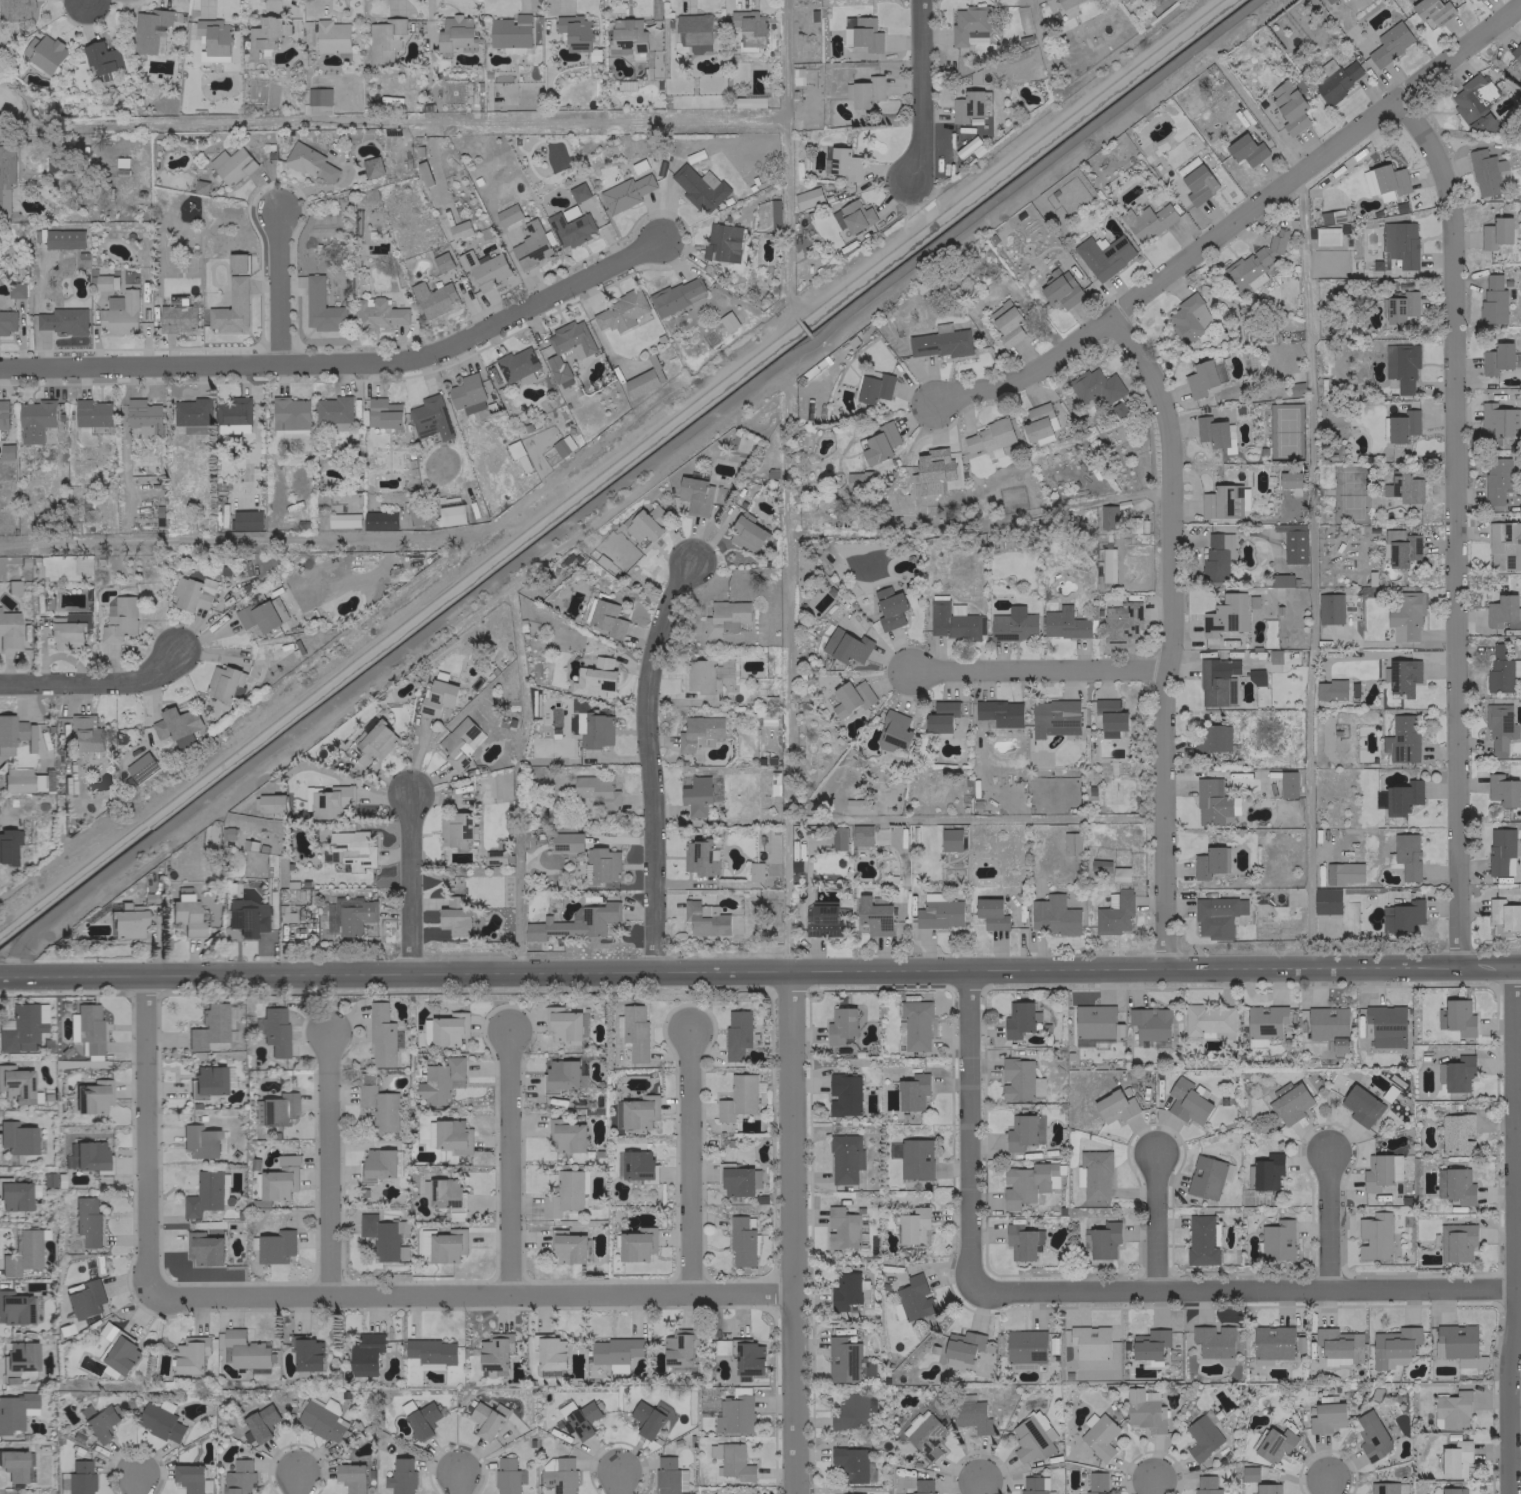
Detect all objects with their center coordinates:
building: (1474, 0)
building: (1067, 3)
building: (16, 9)
building: (1433, 11)
building: (969, 25)
building: (747, 27)
building: (694, 28)
building: (150, 31)
building: (575, 32)
building: (861, 33)
building: (456, 34)
building: (628, 35)
building: (263, 36)
building: (332, 36)
building: (213, 39)
building: (384, 39)
building: (1389, 43)
building: (1516, 51)
building: (45, 52)
building: (101, 57)
building: (1336, 79)
building: (865, 91)
road: (920, 93)
building: (744, 101)
building: (1474, 103)
building: (967, 106)
building: (1289, 106)
building: (1246, 150)
building: (310, 163)
building: (843, 163)
building: (231, 165)
building: (1486, 172)
building: (6, 176)
building: (1196, 180)
building: (1384, 180)
building: (699, 187)
building: (578, 192)
building: (625, 192)
building: (807, 197)
building: (569, 212)
building: (507, 214)
building: (856, 216)
building: (1331, 216)
road: (1234, 219)
building: (1147, 221)
building: (459, 229)
building: (569, 229)
building: (1495, 233)
building: (1327, 237)
building: (64, 239)
building: (722, 242)
building: (1400, 243)
building: (530, 246)
building: (1103, 255)
building: (441, 261)
building: (237, 263)
building: (1254, 264)
building: (484, 268)
building: (102, 282)
road: (279, 286)
building: (1061, 289)
building: (16, 290)
building: (676, 296)
building: (434, 298)
building: (1492, 300)
building: (320, 306)
building: (1401, 306)
building: (231, 307)
building: (619, 312)
building: (119, 313)
building: (379, 313)
building: (177, 314)
building: (1189, 318)
building: (62, 320)
building: (728, 321)
building: (7, 322)
building: (1006, 322)
building: (938, 343)
building: (567, 349)
building: (1497, 357)
road: (343, 362)
building: (517, 365)
building: (1401, 368)
building: (1203, 377)
building: (874, 388)
building: (1099, 390)
building: (467, 394)
building: (332, 409)
building: (233, 411)
building: (191, 412)
building: (92, 413)
building: (383, 413)
building: (3, 414)
building: (143, 415)
building: (289, 417)
building: (430, 417)
building: (1496, 418)
building: (35, 420)
building: (1402, 425)
building: (1211, 431)
building: (990, 437)
building: (880, 443)
building: (563, 445)
building: (6, 451)
building: (934, 465)
building: (1288, 479)
road: (624, 481)
building: (1496, 482)
building: (1406, 487)
building: (693, 495)
building: (1220, 502)
building: (414, 512)
building: (451, 514)
building: (1107, 516)
building: (246, 520)
building: (343, 520)
building: (379, 520)
building: (646, 523)
road: (1453, 526)
building: (747, 533)
building: (1293, 541)
building: (1504, 545)
building: (1401, 547)
building: (1217, 555)
building: (1108, 565)
building: (1281, 580)
building: (193, 591)
building: (889, 608)
building: (1329, 608)
building: (1502, 612)
building: (257, 614)
building: (1225, 615)
building: (1406, 616)
building: (723, 617)
building: (607, 618)
building: (951, 620)
building: (1122, 622)
building: (1064, 623)
building: (9, 631)
building: (68, 631)
road: (1171, 634)
building: (845, 645)
building: (1274, 656)
building: (723, 668)
road: (1038, 668)
building: (1501, 668)
building: (699, 675)
building: (1402, 676)
building: (599, 677)
building: (1256, 677)
road: (91, 681)
building: (1217, 682)
building: (222, 683)
building: (1352, 688)
building: (1330, 689)
building: (437, 697)
building: (851, 697)
building: (998, 715)
building: (1110, 716)
building: (940, 717)
building: (1054, 717)
building: (177, 726)
building: (1499, 729)
building: (596, 730)
building: (893, 731)
building: (699, 732)
building: (14, 733)
building: (87, 736)
building: (1212, 738)
building: (1402, 739)
building: (377, 740)
building: (460, 742)
road: (649, 760)
building: (141, 766)
building: (22, 780)
building: (1287, 784)
building: (1502, 790)
building: (596, 791)
building: (696, 795)
building: (1402, 797)
building: (327, 800)
building: (1212, 802)
building: (271, 803)
building: (455, 830)
building: (861, 835)
building: (838, 838)
building: (951, 839)
building: (566, 842)
building: (1071, 843)
building: (7, 846)
building: (351, 849)
building: (1501, 851)
building: (1407, 855)
building: (495, 857)
building: (697, 857)
building: (1209, 862)
building: (601, 864)
building: (755, 871)
building: (1333, 873)
building: (1120, 874)
road: (407, 881)
building: (1326, 900)
building: (186, 912)
building: (1114, 912)
building: (991, 913)
building: (939, 914)
building: (1503, 914)
building: (1054, 915)
building: (874, 916)
building: (1217, 916)
building: (1403, 916)
building: (355, 917)
building: (247, 918)
building: (455, 919)
building: (705, 919)
building: (823, 919)
building: (127, 921)
building: (575, 922)
road: (760, 970)
building: (1459, 1017)
building: (1018, 1018)
building: (1208, 1019)
building: (1265, 1021)
building: (562, 1023)
building: (1150, 1023)
building: (915, 1024)
building: (210, 1025)
building: (841, 1025)
building: (1386, 1025)
building: (24, 1027)
building: (89, 1027)
building: (1328, 1027)
building: (445, 1029)
building: (274, 1030)
building: (634, 1031)
building: (736, 1034)
building: (382, 1036)
building: (1257, 1043)
building: (562, 1074)
building: (440, 1080)
building: (1019, 1080)
building: (206, 1082)
building: (16, 1085)
building: (912, 1092)
building: (843, 1094)
building: (93, 1096)
building: (738, 1098)
building: (1187, 1102)
building: (1288, 1102)
building: (378, 1104)
building: (1360, 1105)
building: (1114, 1106)
building: (275, 1109)
building: (617, 1112)
road: (968, 1129)
road: (144, 1132)
building: (1020, 1132)
building: (1456, 1134)
building: (566, 1135)
building: (17, 1138)
building: (200, 1141)
building: (893, 1150)
building: (91, 1156)
building: (845, 1158)
building: (915, 1159)
road: (507, 1162)
road: (688, 1162)
road: (326, 1163)
building: (378, 1164)
building: (637, 1165)
building: (1267, 1172)
building: (1377, 1172)
building: (1095, 1174)
building: (1207, 1176)
building: (279, 1180)
building: (737, 1181)
building: (1024, 1184)
building: (1459, 1186)
building: (565, 1193)
building: (204, 1194)
building: (14, 1195)
building: (447, 1197)
road: (1325, 1219)
building: (87, 1220)
road: (1153, 1221)
building: (914, 1226)
building: (842, 1228)
road: (1512, 1230)
road: (791, 1231)
building: (380, 1237)
building: (1374, 1237)
building: (1103, 1240)
building: (1202, 1240)
building: (1277, 1240)
building: (743, 1241)
building: (1456, 1241)
building: (1020, 1242)
building: (636, 1245)
building: (276, 1246)
building: (447, 1246)
building: (569, 1248)
building: (204, 1249)
building: (22, 1252)
road: (1243, 1289)
building: (845, 1292)
road: (471, 1295)
building: (914, 1298)
building: (85, 1299)
building: (14, 1308)
building: (1090, 1341)
building: (1213, 1341)
building: (1272, 1342)
building: (1149, 1344)
building: (1458, 1345)
building: (1339, 1346)
building: (1393, 1347)
building: (1025, 1348)
building: (679, 1349)
building: (961, 1349)
building: (244, 1350)
building: (431, 1351)
building: (495, 1353)
building: (551, 1353)
building: (616, 1353)
building: (307, 1354)
building: (365, 1354)
building: (122, 1355)
building: (191, 1355)
building: (19, 1357)
building: (749, 1358)
building: (846, 1360)
building: (431, 1366)
building: (566, 1408)
building: (1452, 1409)
building: (15, 1410)
building: (1144, 1410)
building: (852, 1411)
building: (734, 1415)
building: (971, 1416)
building: (652, 1418)
building: (1326, 1418)
building: (321, 1419)
building: (422, 1419)
building: (583, 1420)
building: (485, 1421)
building: (98, 1422)
building: (159, 1422)
building: (260, 1422)
building: (1043, 1424)
building: (924, 1434)
building: (1099, 1436)
building: (1202, 1436)
building: (1372, 1436)
building: (1031, 1440)
building: (1275, 1444)
building: (1455, 1459)
building: (731, 1461)
building: (13, 1465)
building: (853, 1465)
building: (558, 1474)
building: (668, 1475)
building: (400, 1476)
building: (508, 1476)
building: (351, 1477)
building: (79, 1478)
building: (238, 1478)
road: (454, 1482)
road: (617, 1482)
building: (1096, 1482)
road: (295, 1484)
road: (135, 1485)
building: (1034, 1485)
building: (1206, 1485)
road: (1324, 1485)
building: (922, 1486)
road: (1149, 1486)
road: (976, 1487)
building: (1267, 1488)
building: (1388, 1488)
building: (1453, 1490)
building: (861, 1493)

